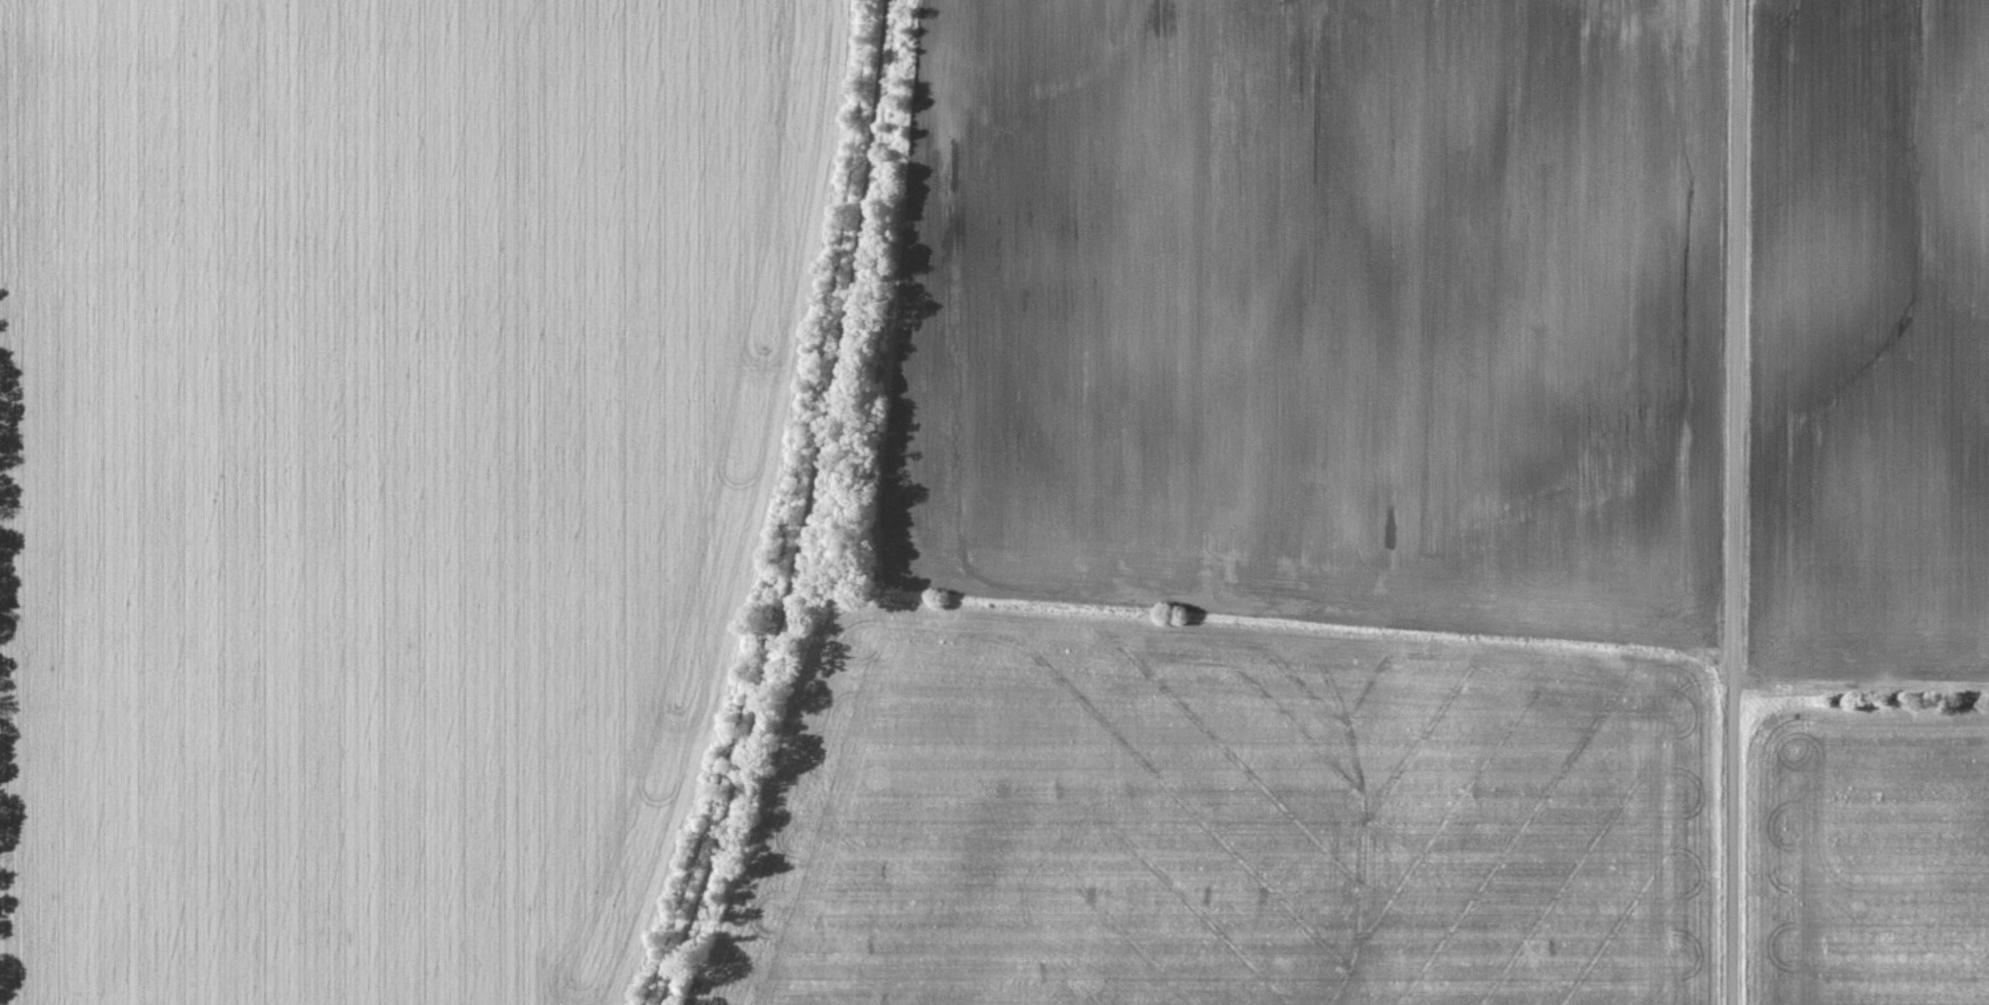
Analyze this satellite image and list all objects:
road: (1741, 502)

